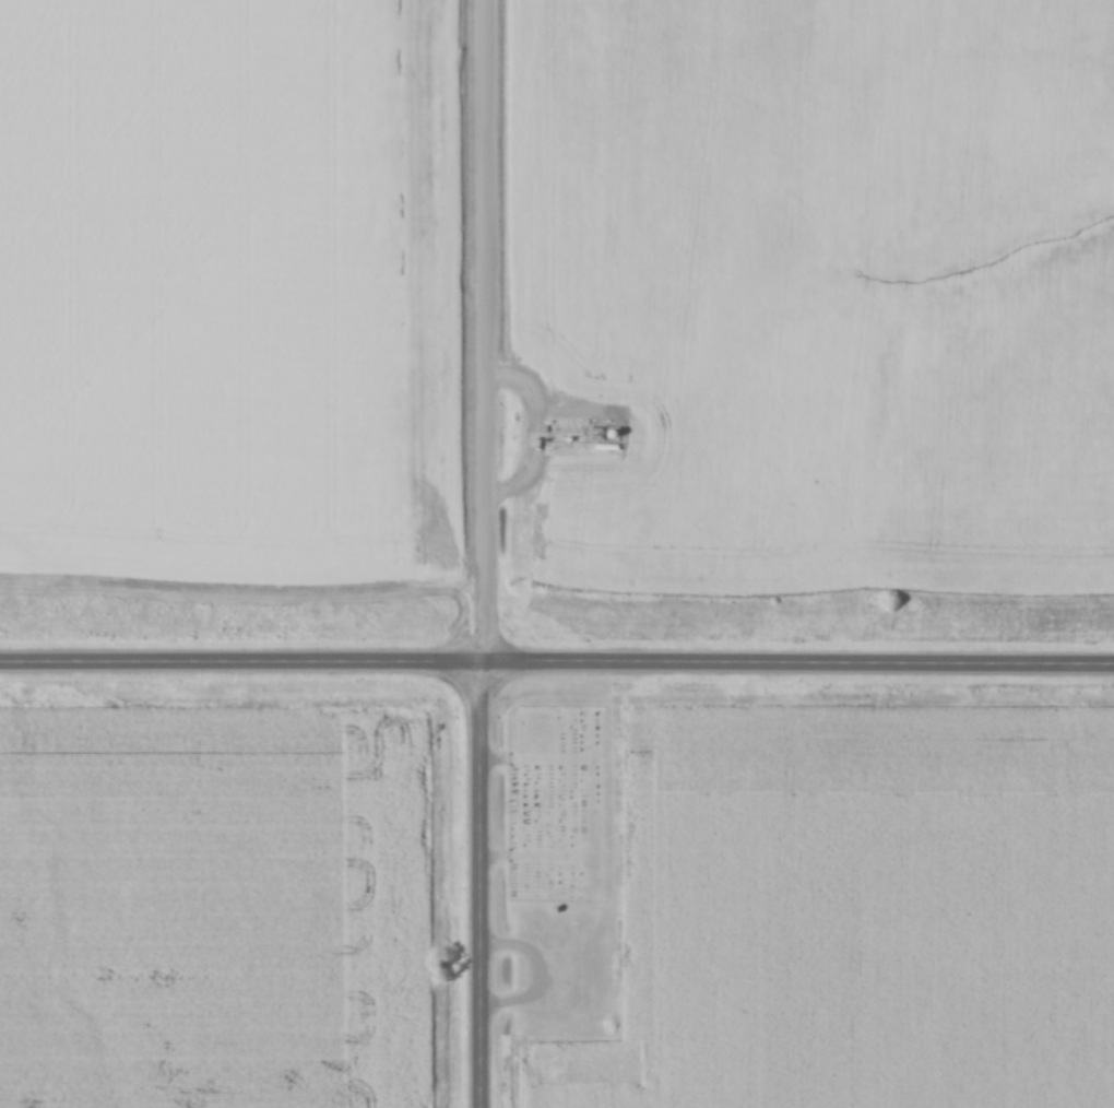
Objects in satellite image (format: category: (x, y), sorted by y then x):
road: (482, 323)
road: (557, 648)
park: (559, 805)
road: (488, 877)

